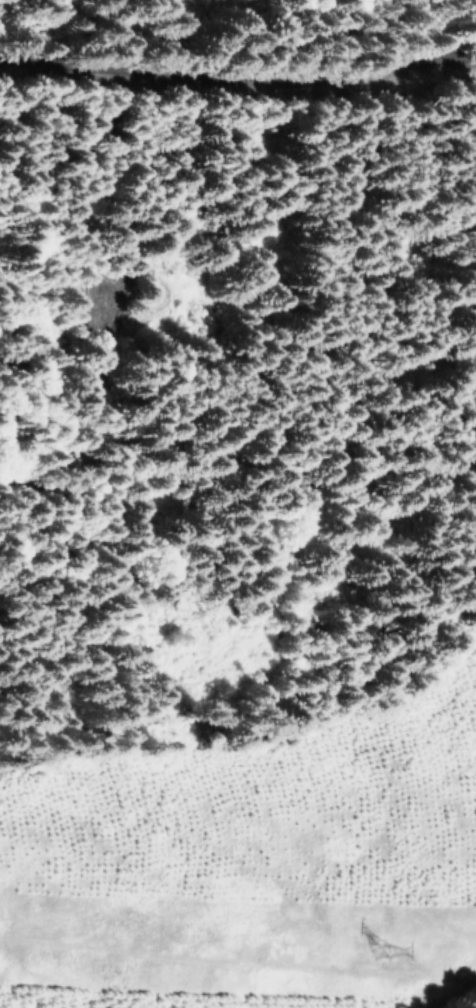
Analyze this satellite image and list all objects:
road: (386, 32)
road: (95, 39)
road: (237, 74)
road: (107, 304)
road: (56, 305)
power tower: (381, 954)

